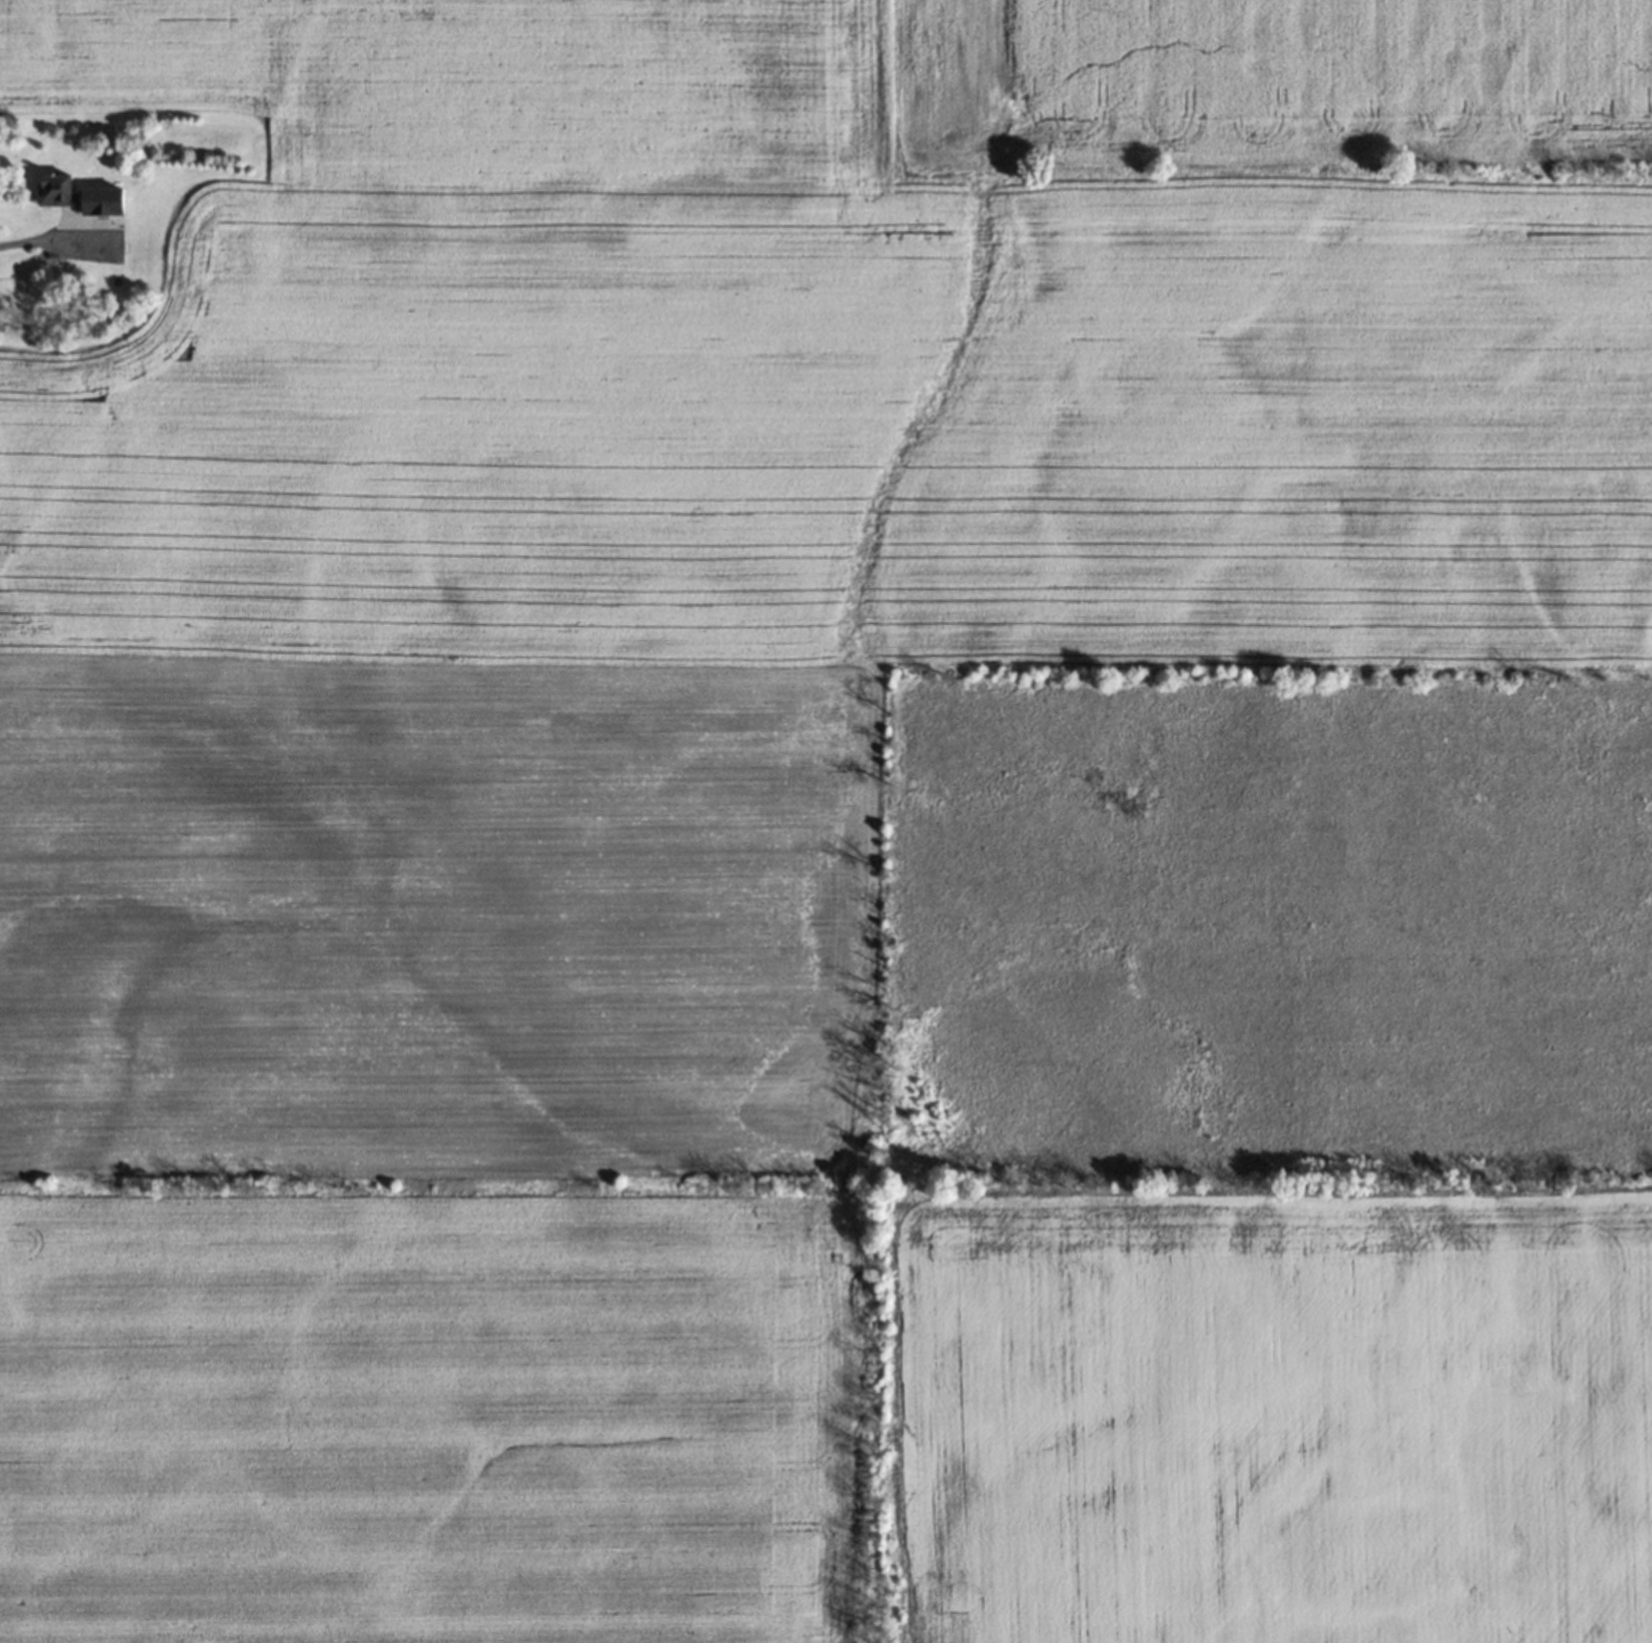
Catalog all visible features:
building: (56, 187)
building: (92, 193)
road: (40, 238)
crop: (834, 828)

